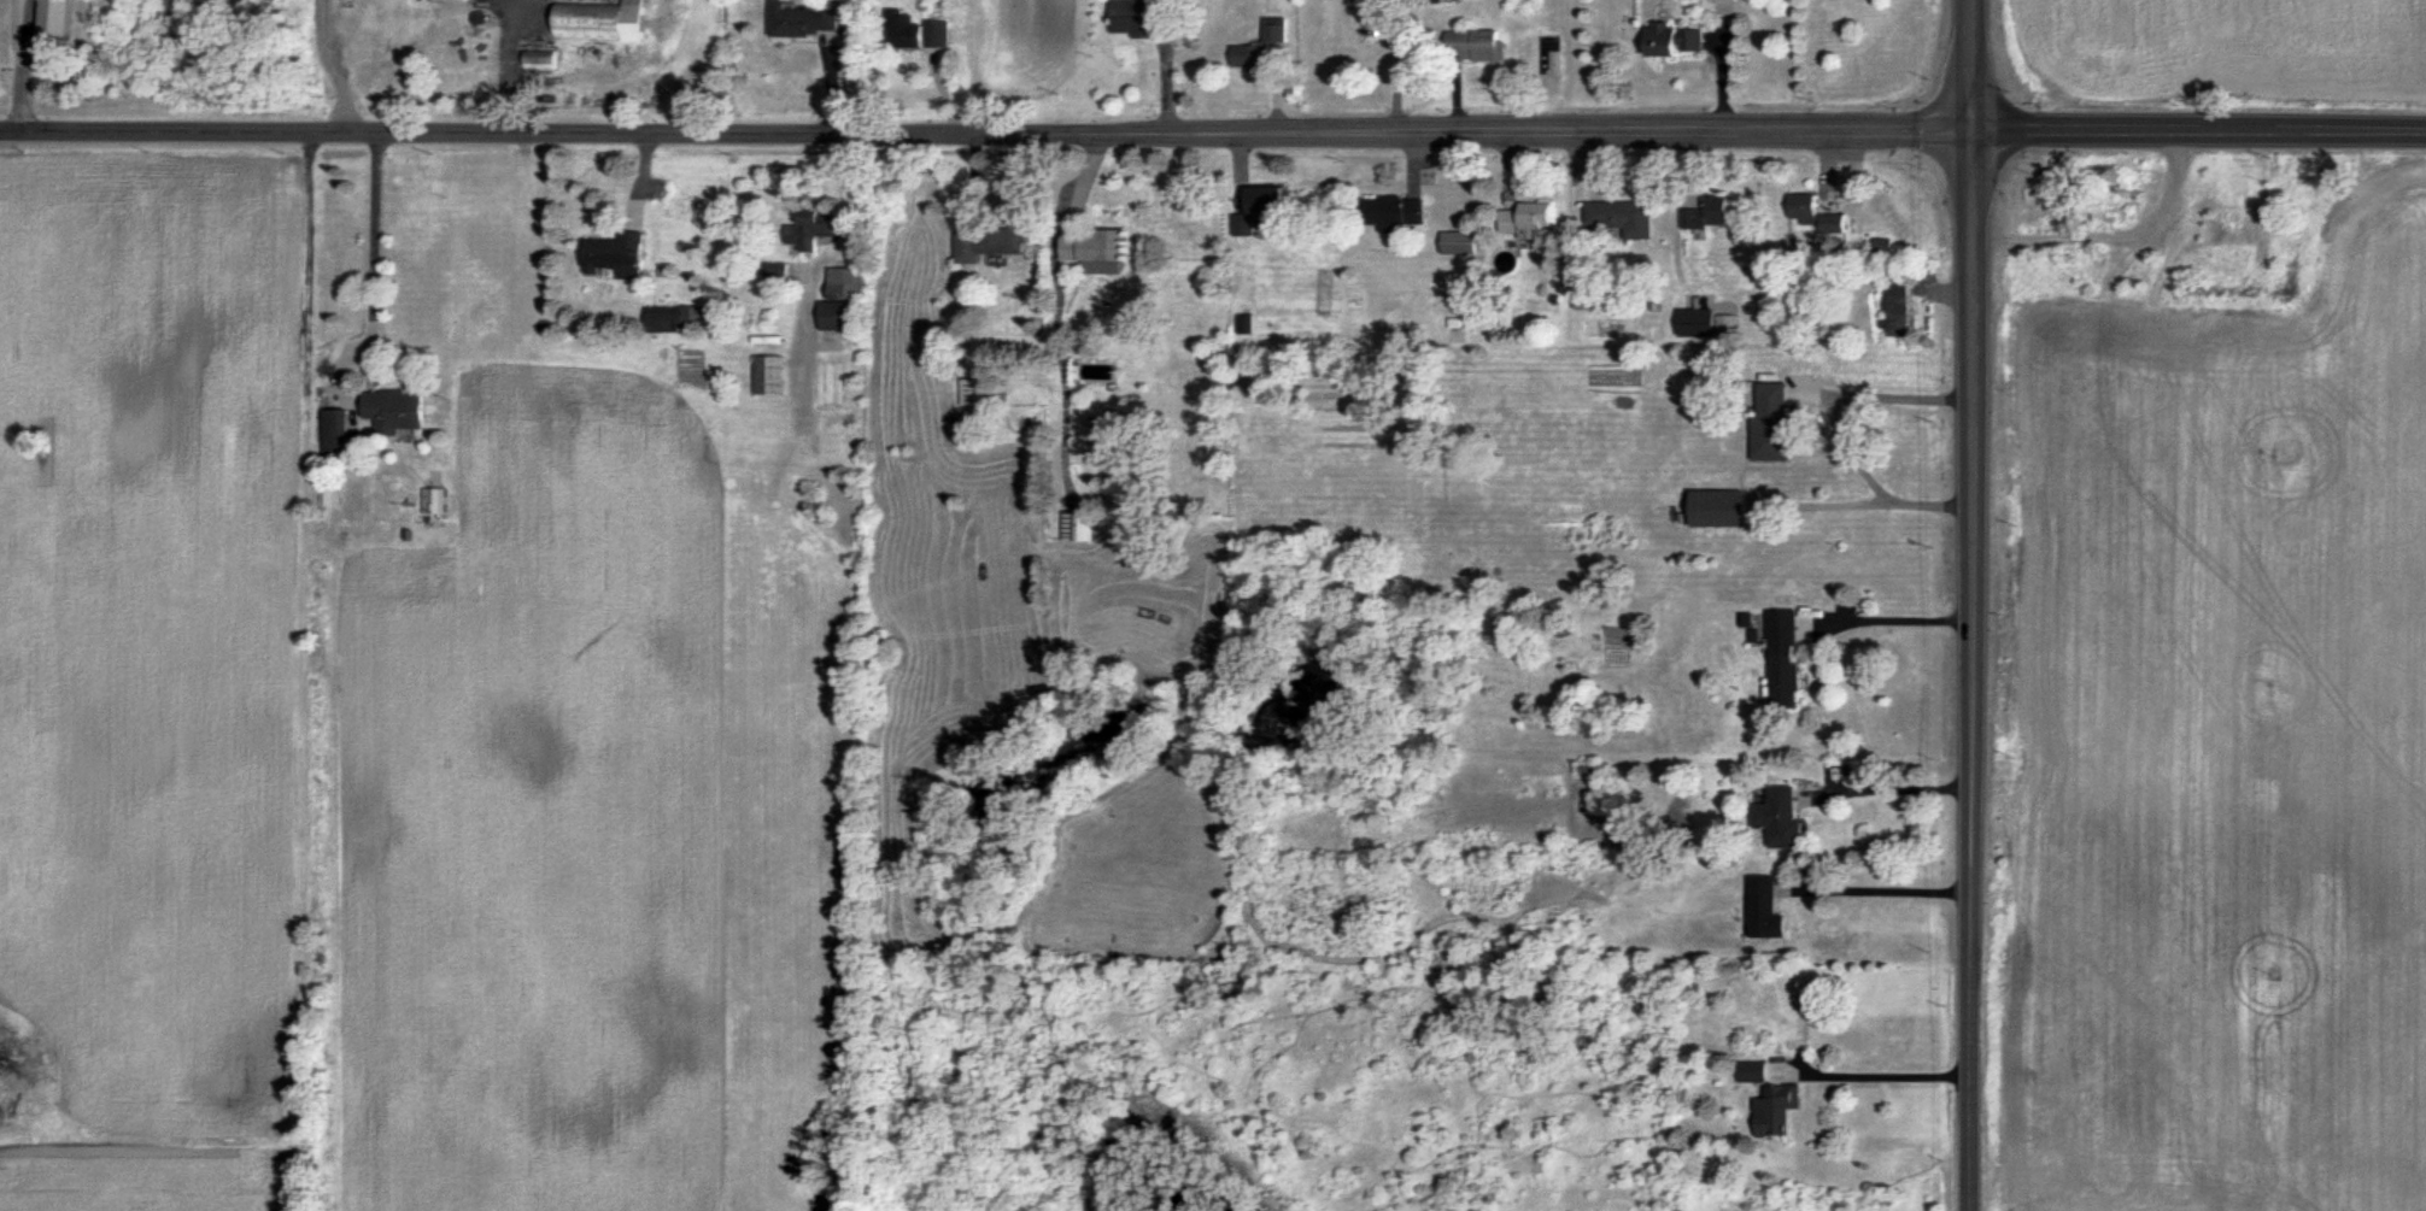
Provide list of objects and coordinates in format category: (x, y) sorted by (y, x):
building: (1441, 0)
building: (1135, 16)
building: (804, 17)
building: (602, 19)
building: (55, 24)
building: (919, 30)
building: (1674, 39)
building: (1477, 43)
building: (1261, 45)
building: (464, 46)
crop: (1024, 51)
building: (543, 58)
road: (22, 65)
road: (334, 66)
road: (985, 133)
road: (2198, 134)
building: (1261, 207)
building: (1393, 211)
building: (1707, 212)
building: (1815, 212)
building: (1622, 216)
building: (1526, 219)
building: (814, 227)
building: (1459, 241)
road: (376, 242)
building: (990, 242)
building: (1882, 243)
building: (1095, 249)
road: (1971, 252)
building: (616, 254)
building: (778, 272)
building: (846, 282)
building: (1586, 294)
building: (1895, 307)
building: (839, 314)
building: (669, 318)
building: (1697, 322)
building: (1246, 323)
building: (770, 374)
building: (973, 390)
building: (395, 408)
building: (1770, 422)
road: (1836, 428)
building: (338, 434)
building: (434, 499)
building: (1718, 507)
building: (1079, 524)
road: (1893, 618)
road: (1971, 646)
building: (1783, 658)
crop: (2220, 759)
road: (1898, 788)
building: (1779, 817)
road: (1875, 889)
building: (1764, 907)
road: (1973, 999)
building: (1752, 1070)
road: (1887, 1075)
building: (1775, 1109)

